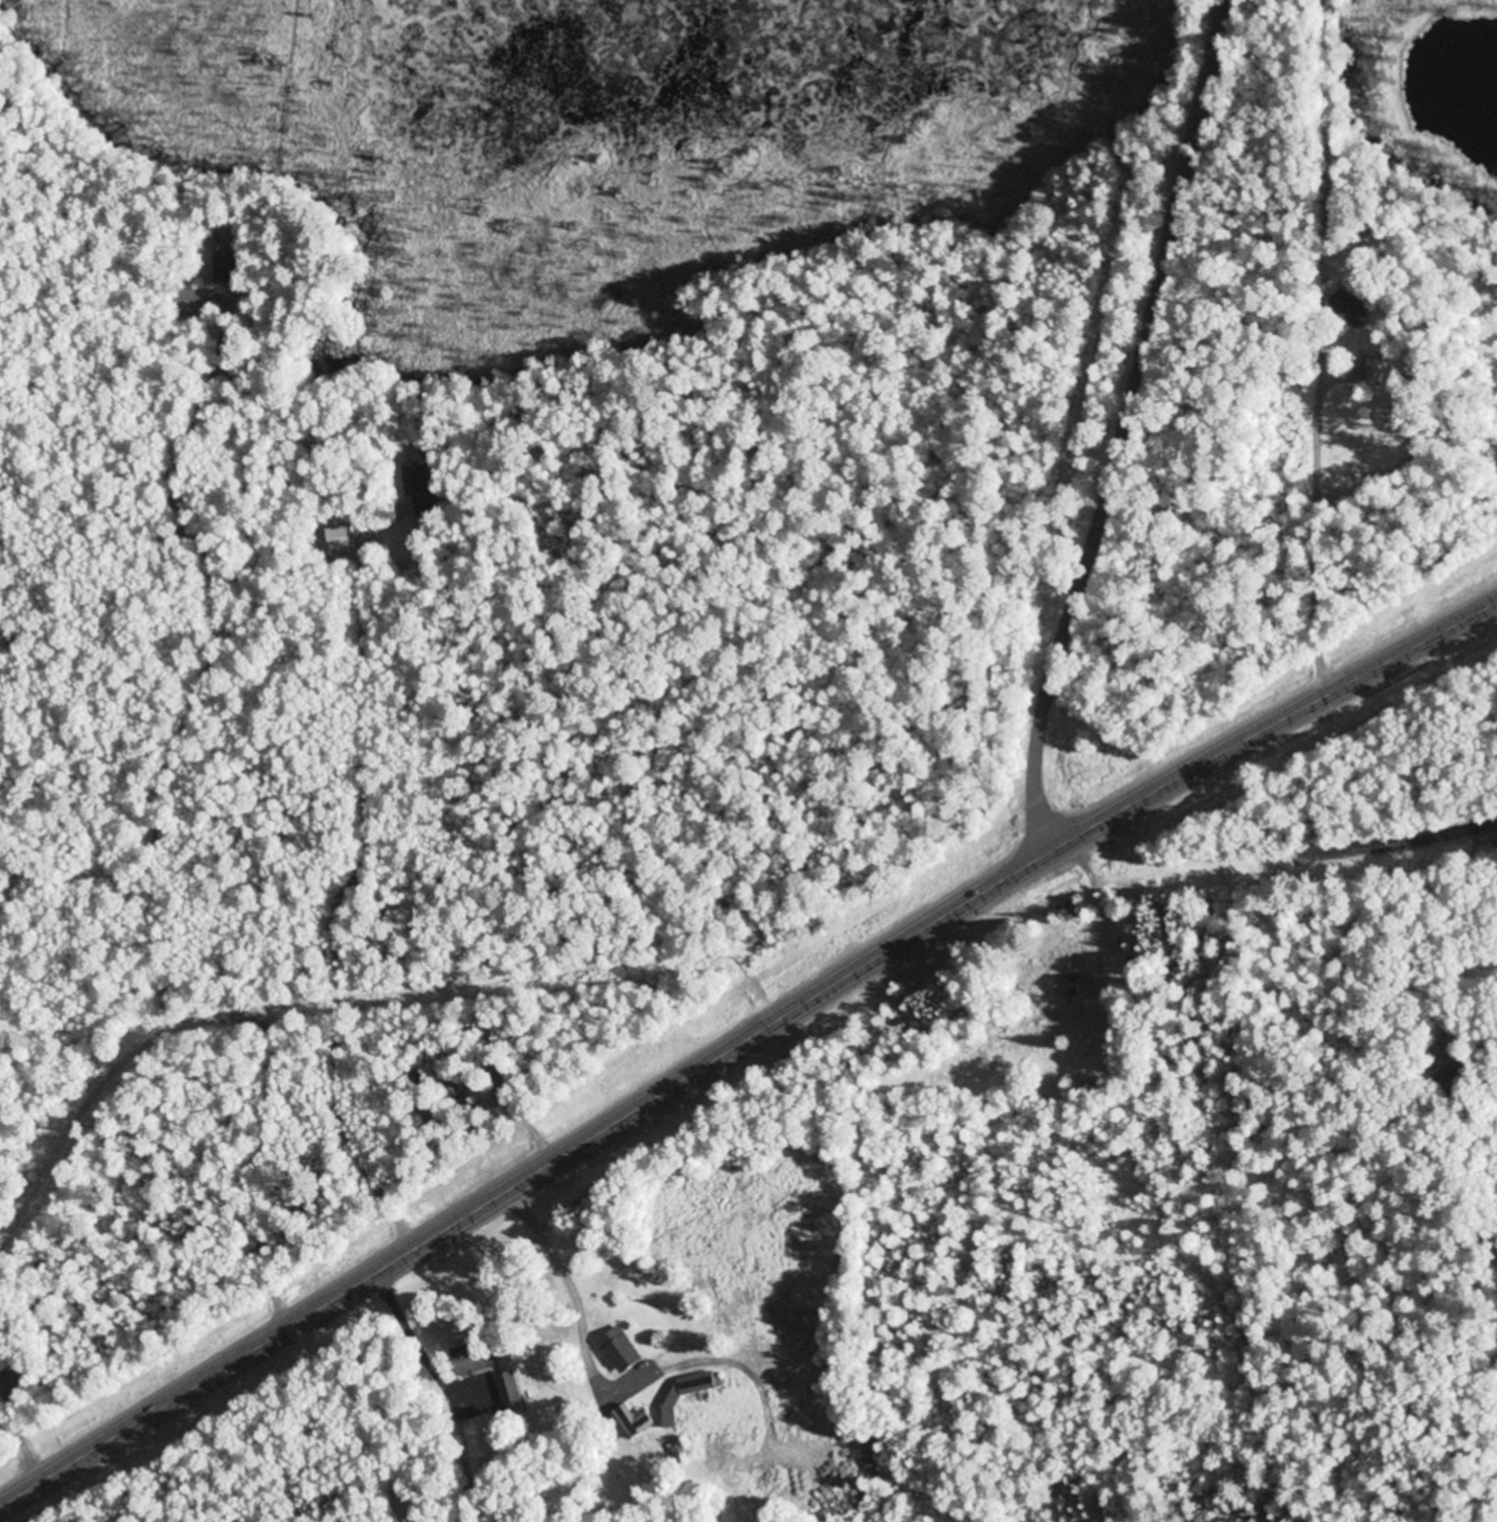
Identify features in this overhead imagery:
building: (226, 268)
building: (193, 301)
building: (1351, 307)
road: (1330, 375)
road: (1130, 424)
road: (1315, 471)
building: (423, 478)
road: (154, 814)
road: (1494, 832)
road: (1398, 836)
road: (343, 880)
road: (1115, 904)
road: (1425, 944)
building: (1069, 986)
road: (739, 993)
road: (742, 1040)
road: (754, 1067)
building: (620, 1351)
building: (475, 1358)
building: (509, 1389)
building: (690, 1393)
building: (635, 1422)
road: (14, 1429)
building: (681, 1453)

